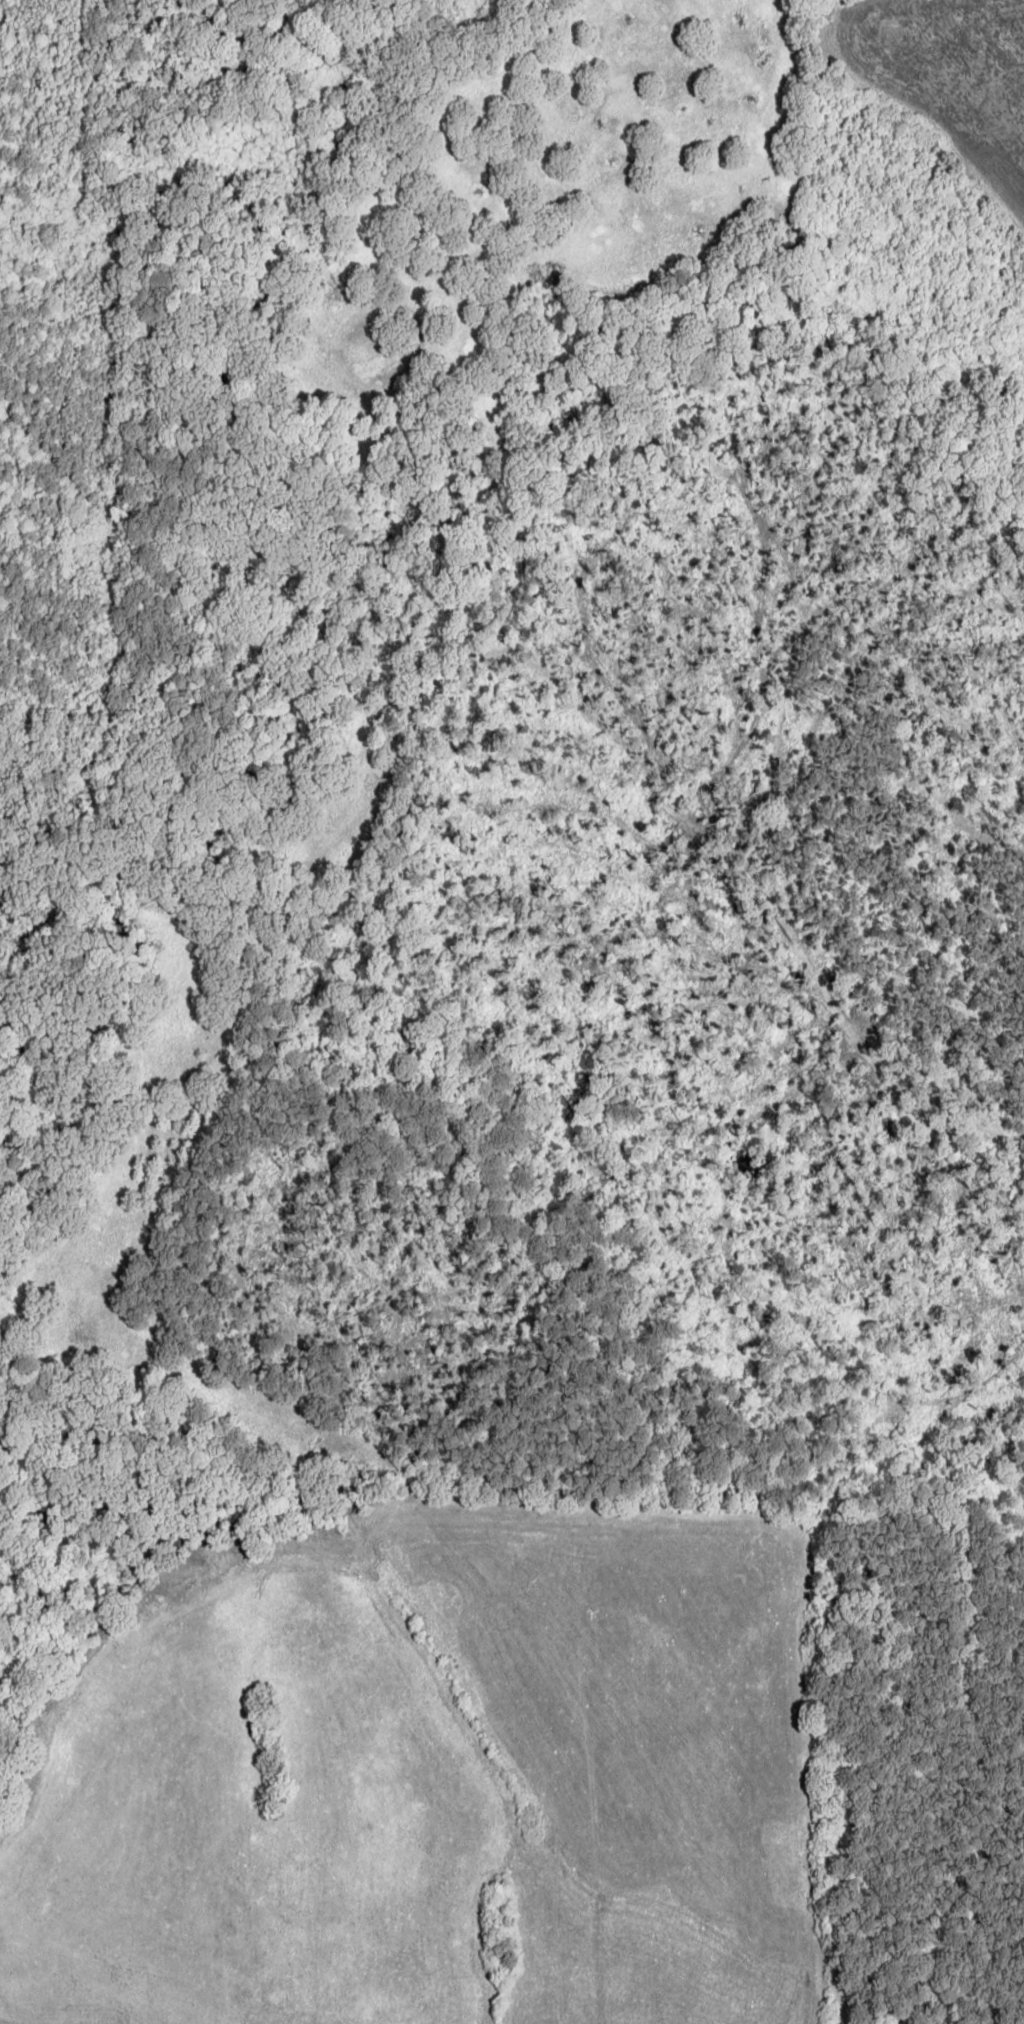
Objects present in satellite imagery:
road: (792, 1486)

